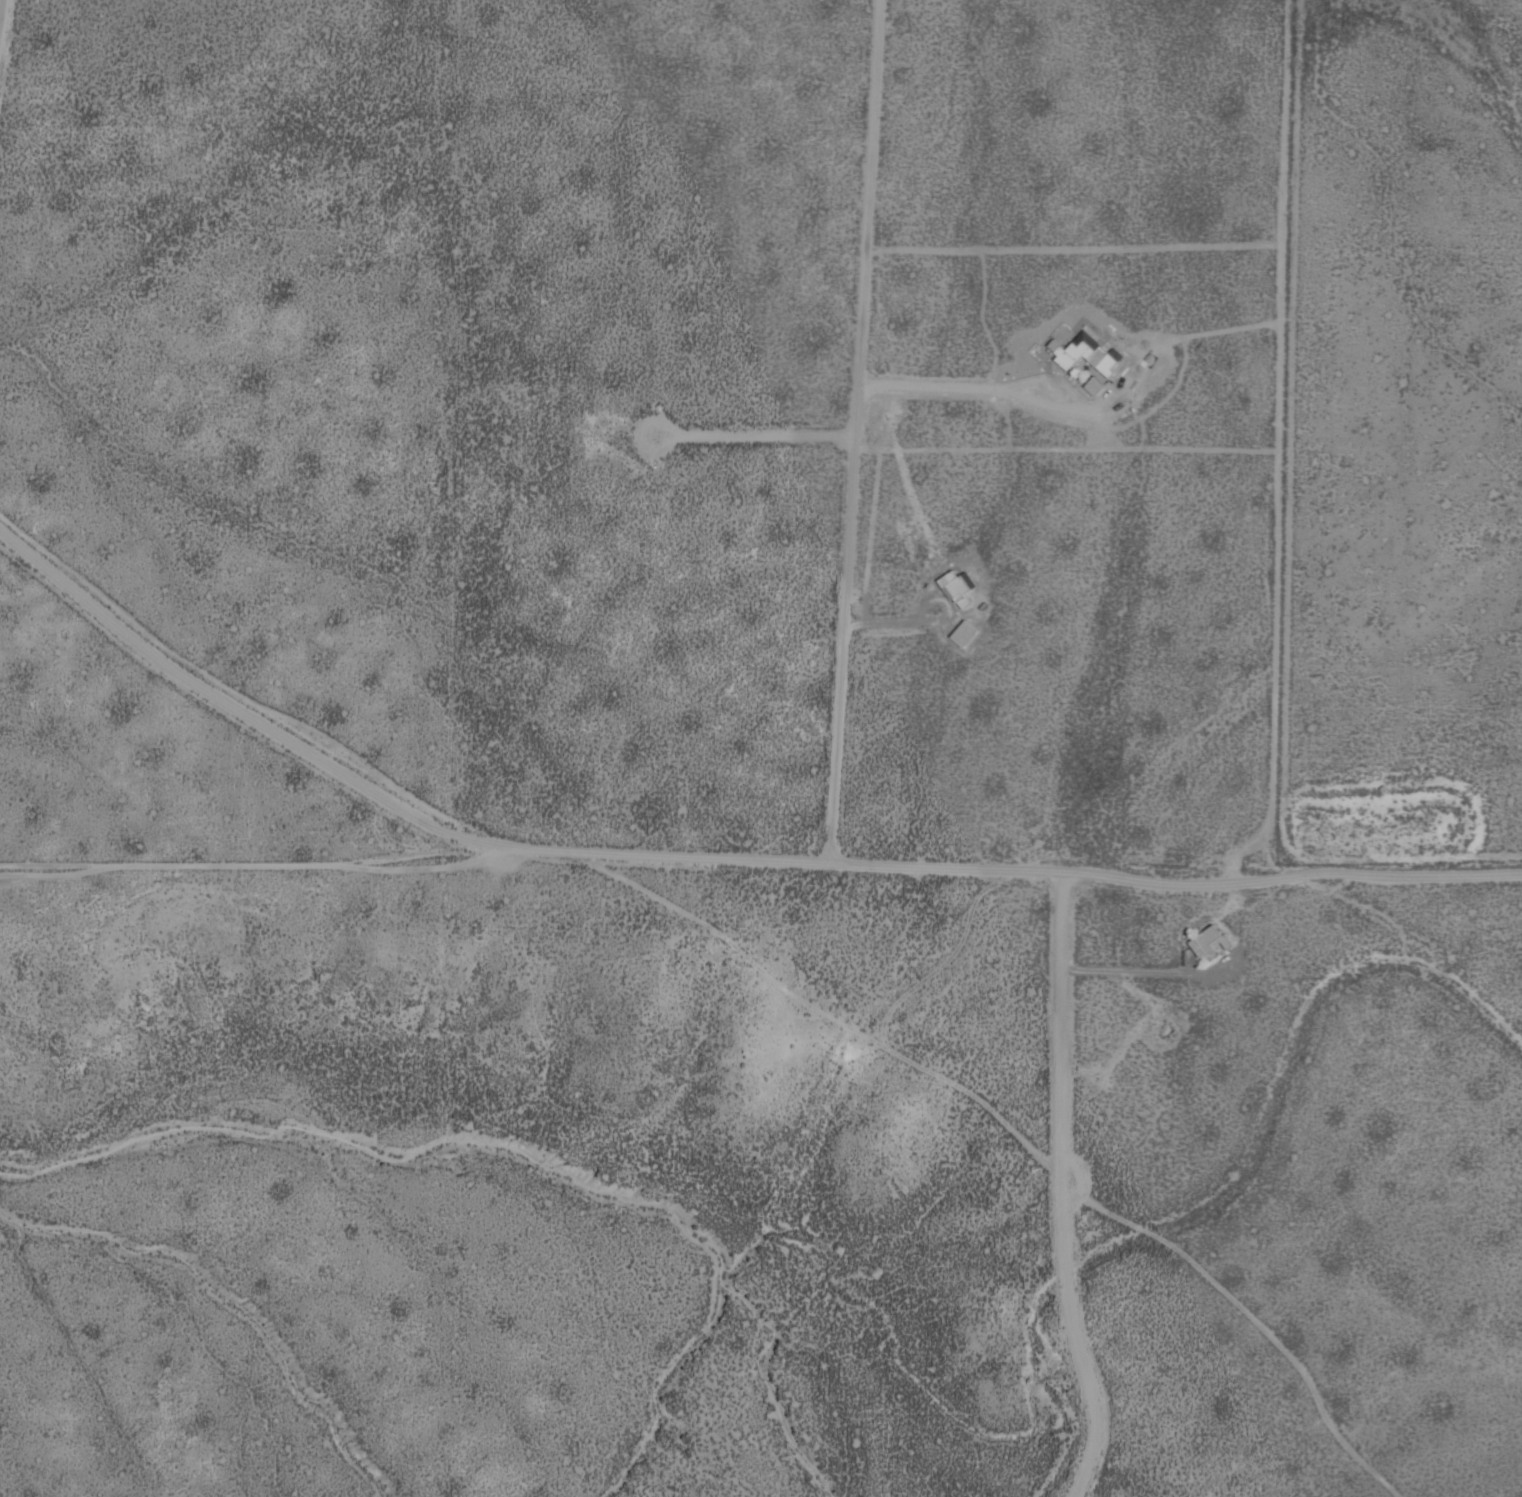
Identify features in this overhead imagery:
road: (854, 429)
road: (210, 692)
road: (983, 865)
road: (1026, 1138)

